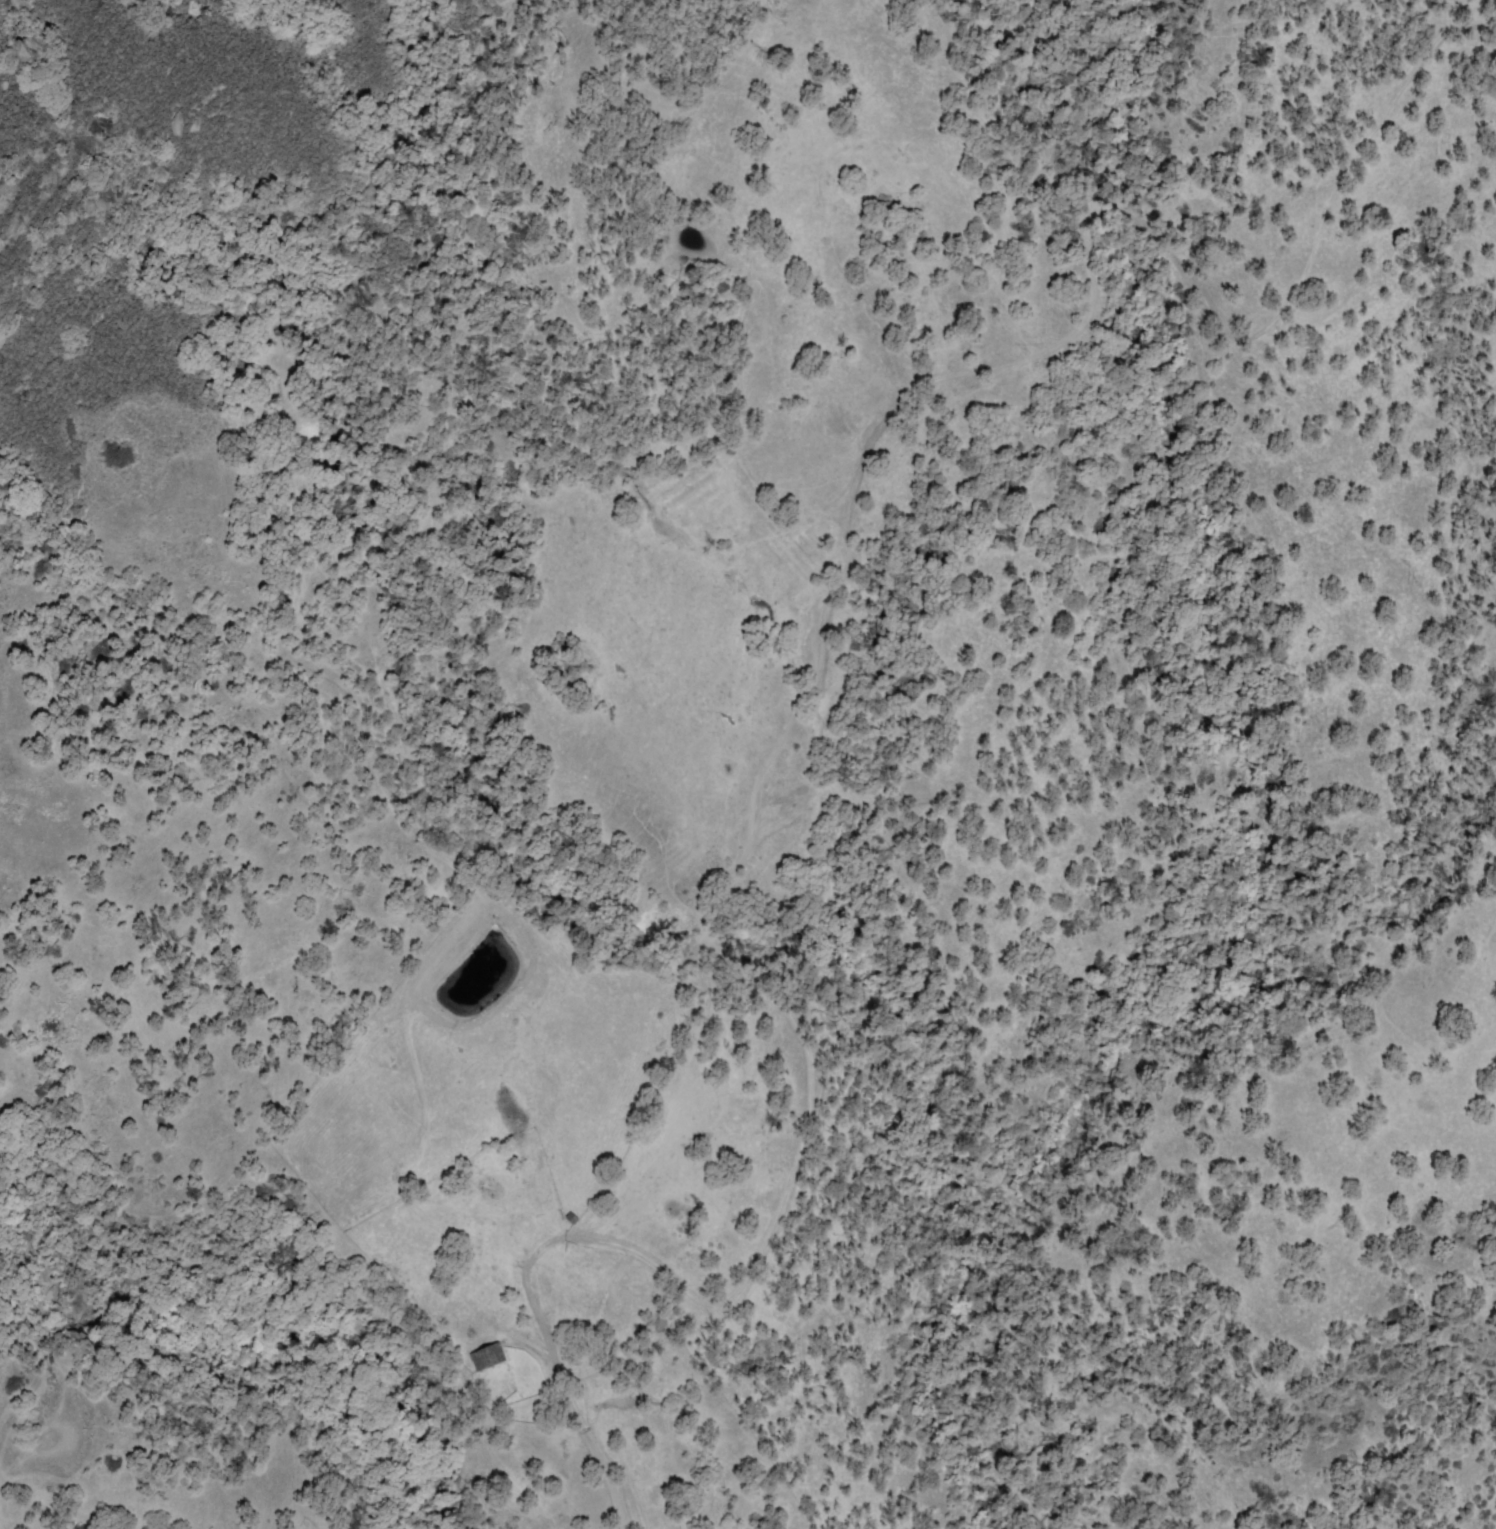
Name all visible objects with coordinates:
building: (486, 1358)

